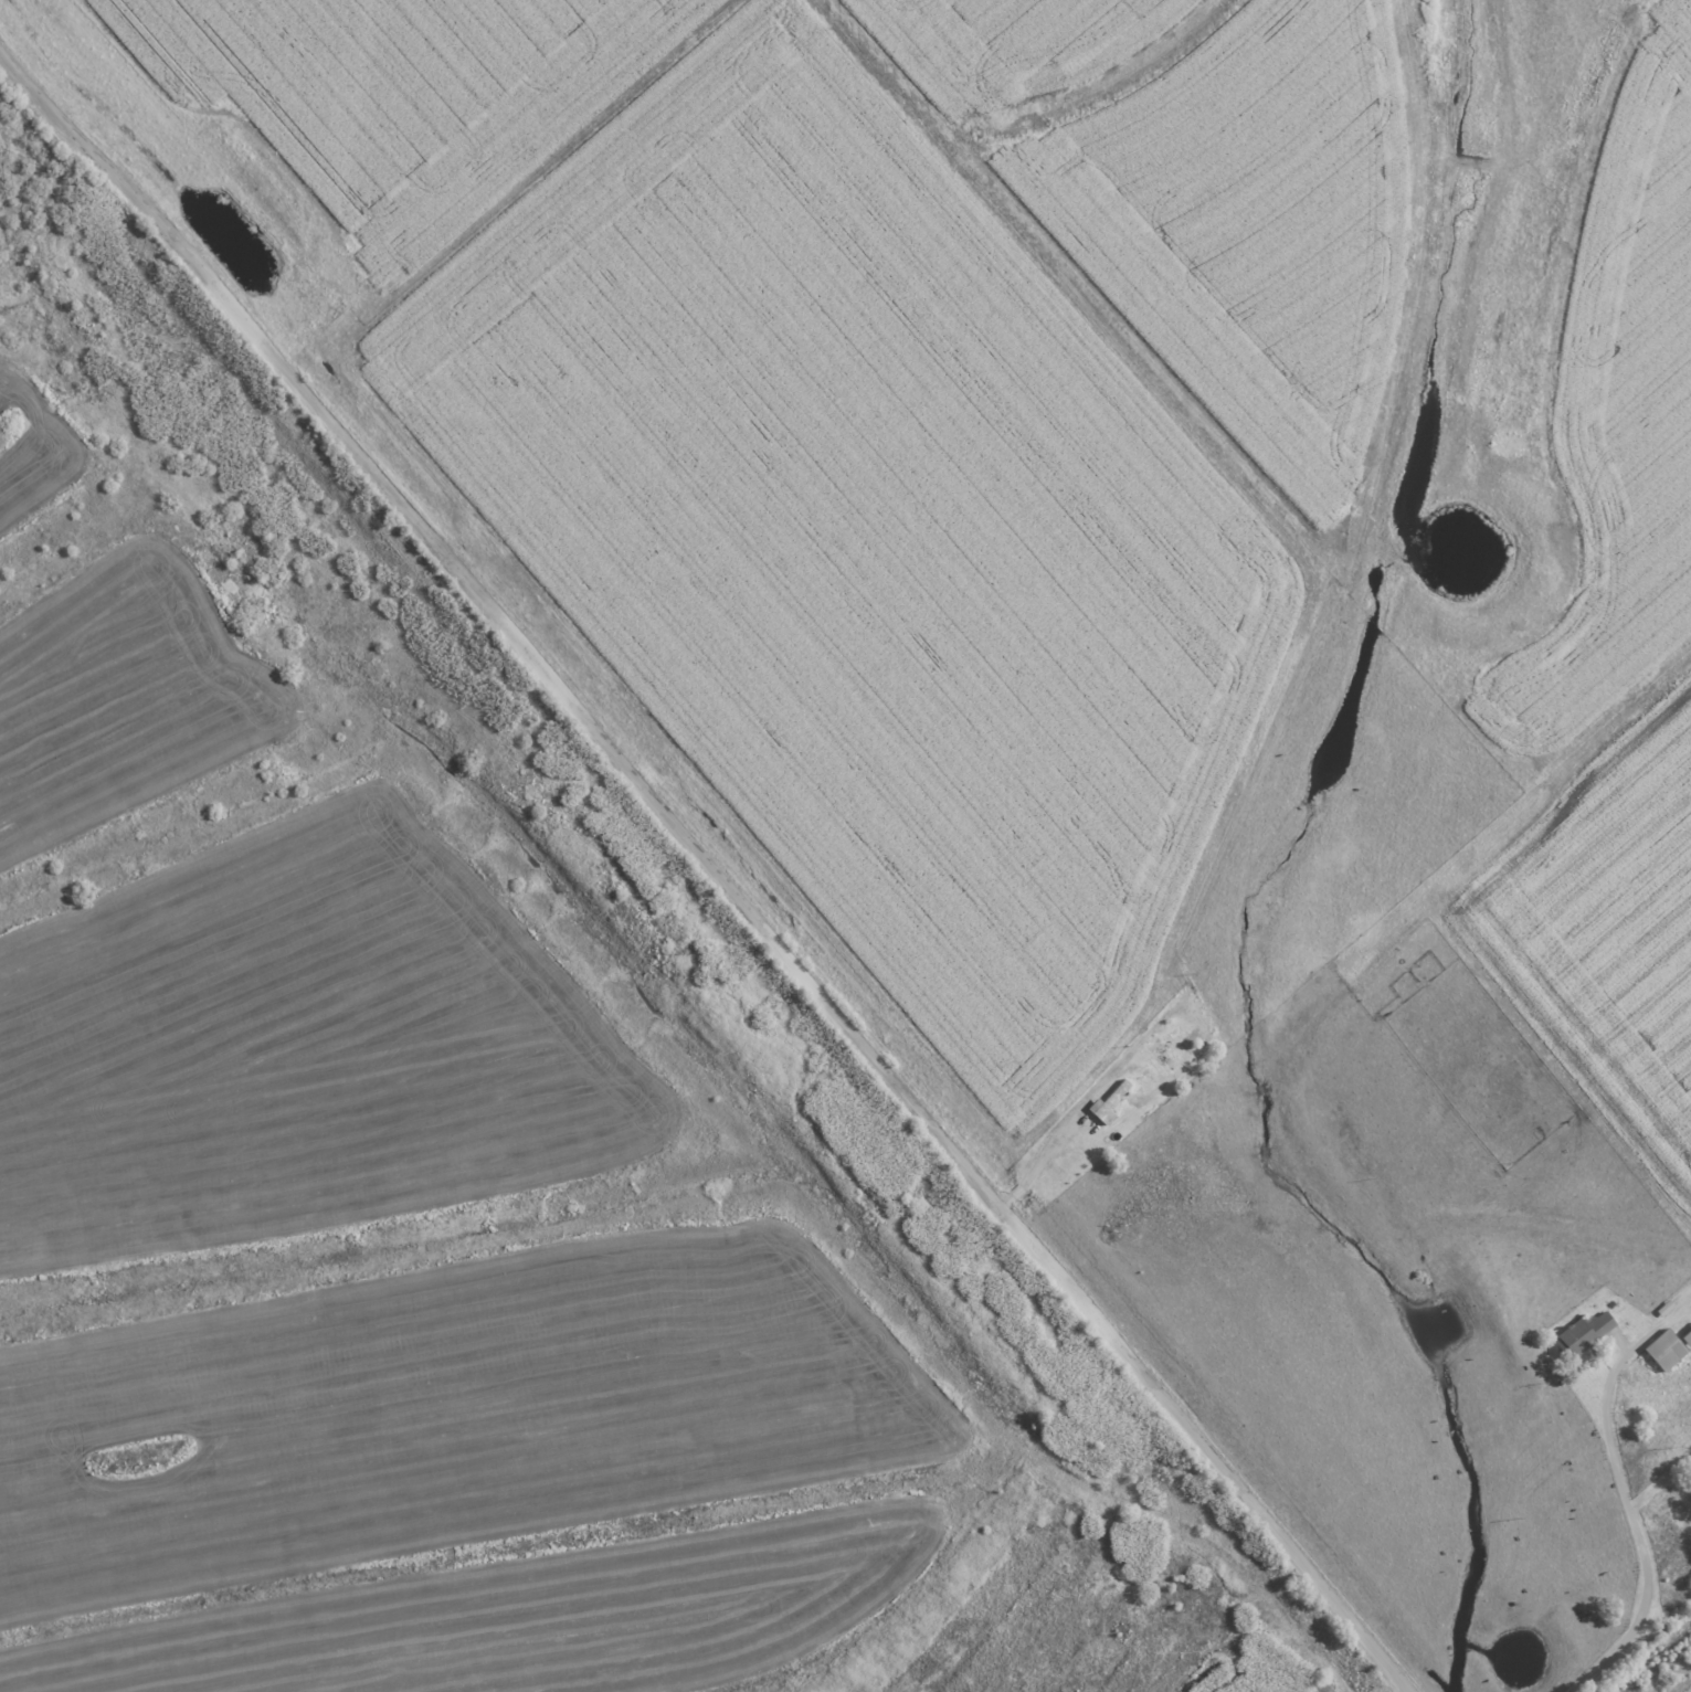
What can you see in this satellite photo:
road: (709, 869)
road: (1055, 1139)
building: (1577, 1334)
building: (1659, 1350)
road: (1635, 1525)

